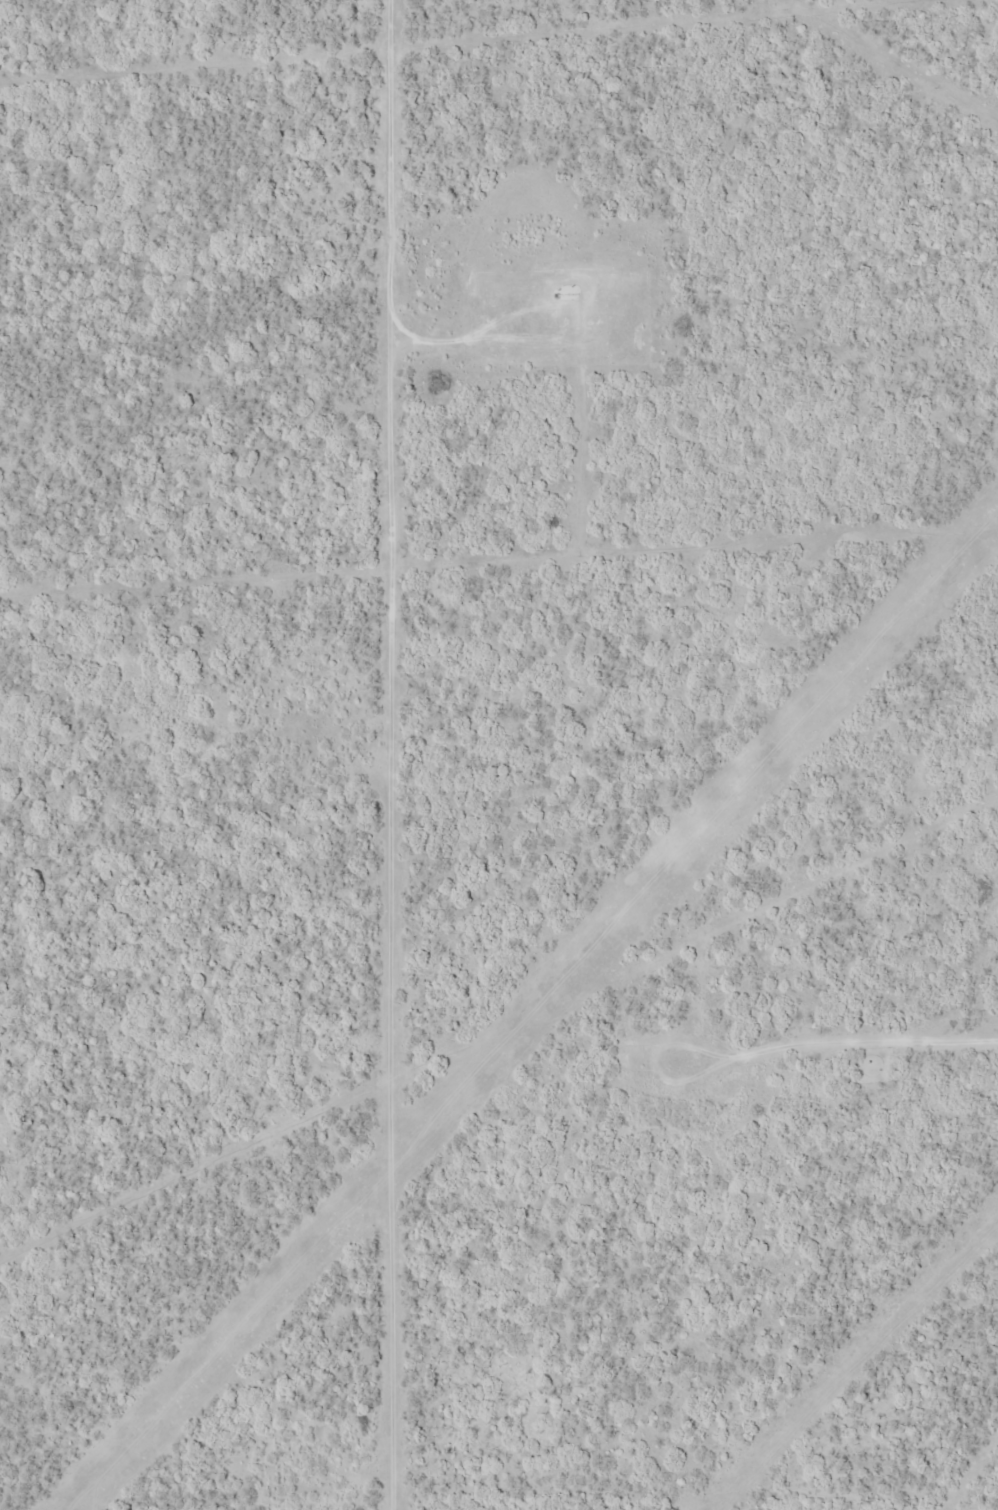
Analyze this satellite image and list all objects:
road: (506, 339)
road: (385, 755)
road: (852, 1034)

